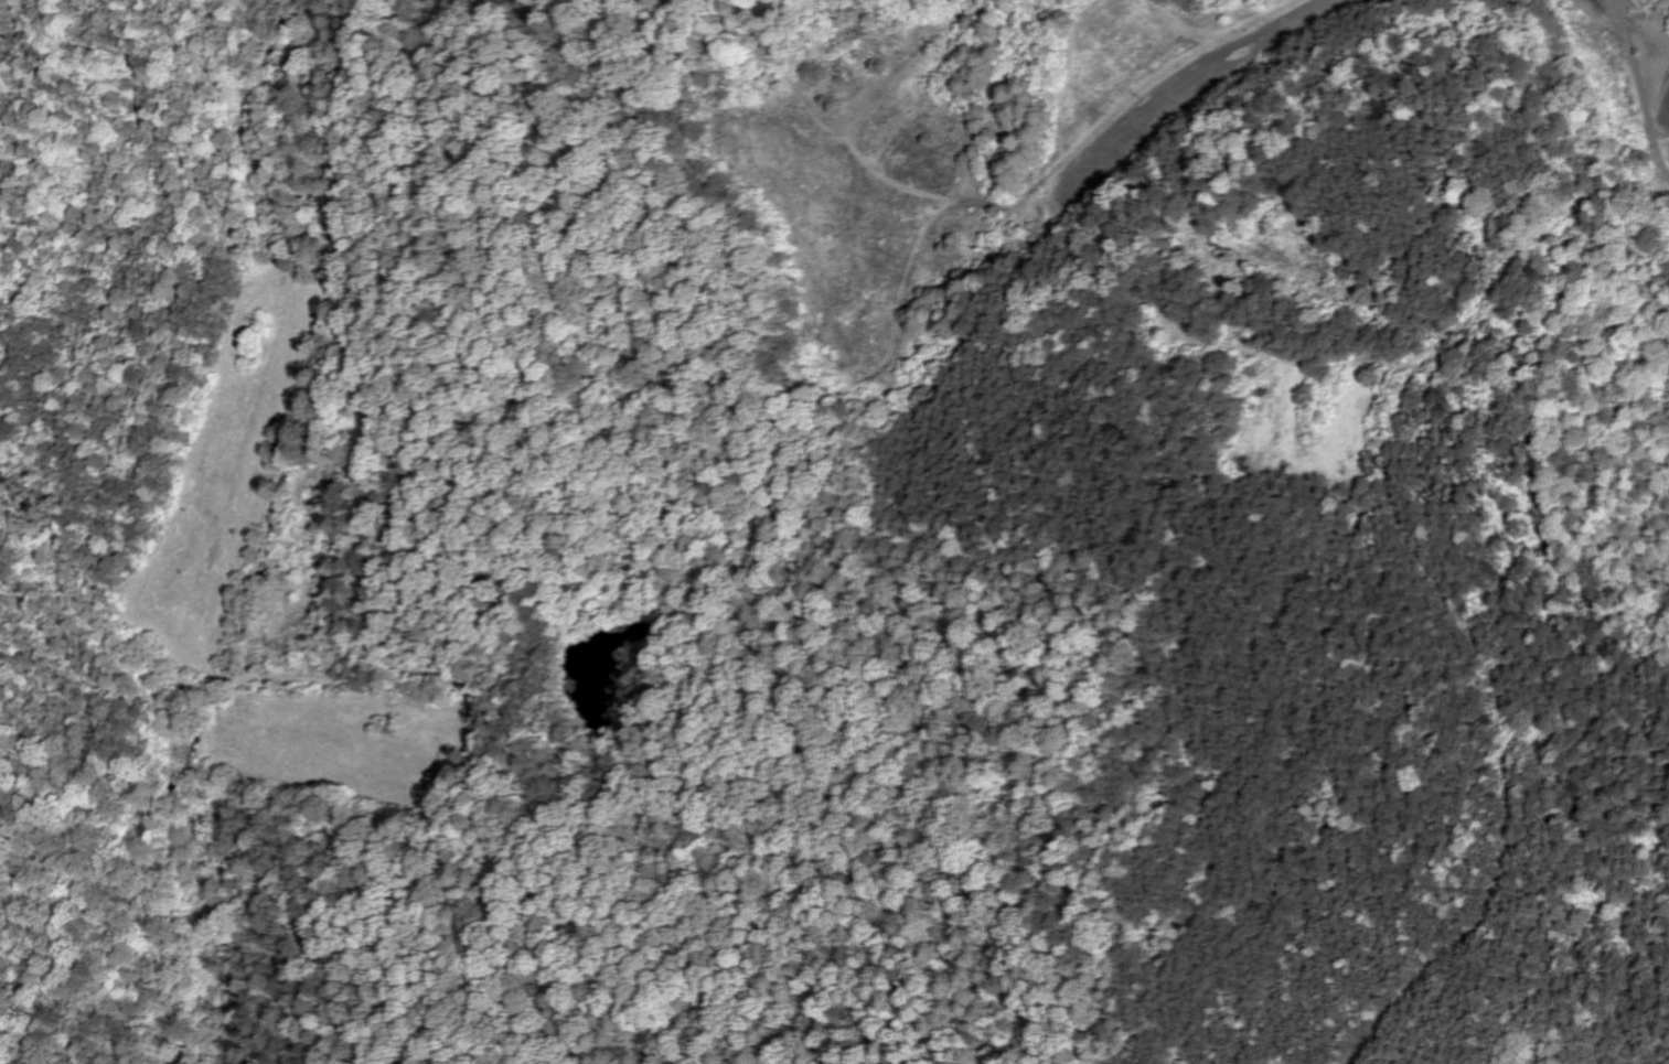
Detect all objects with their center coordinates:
road: (1646, 86)
road: (376, 567)

